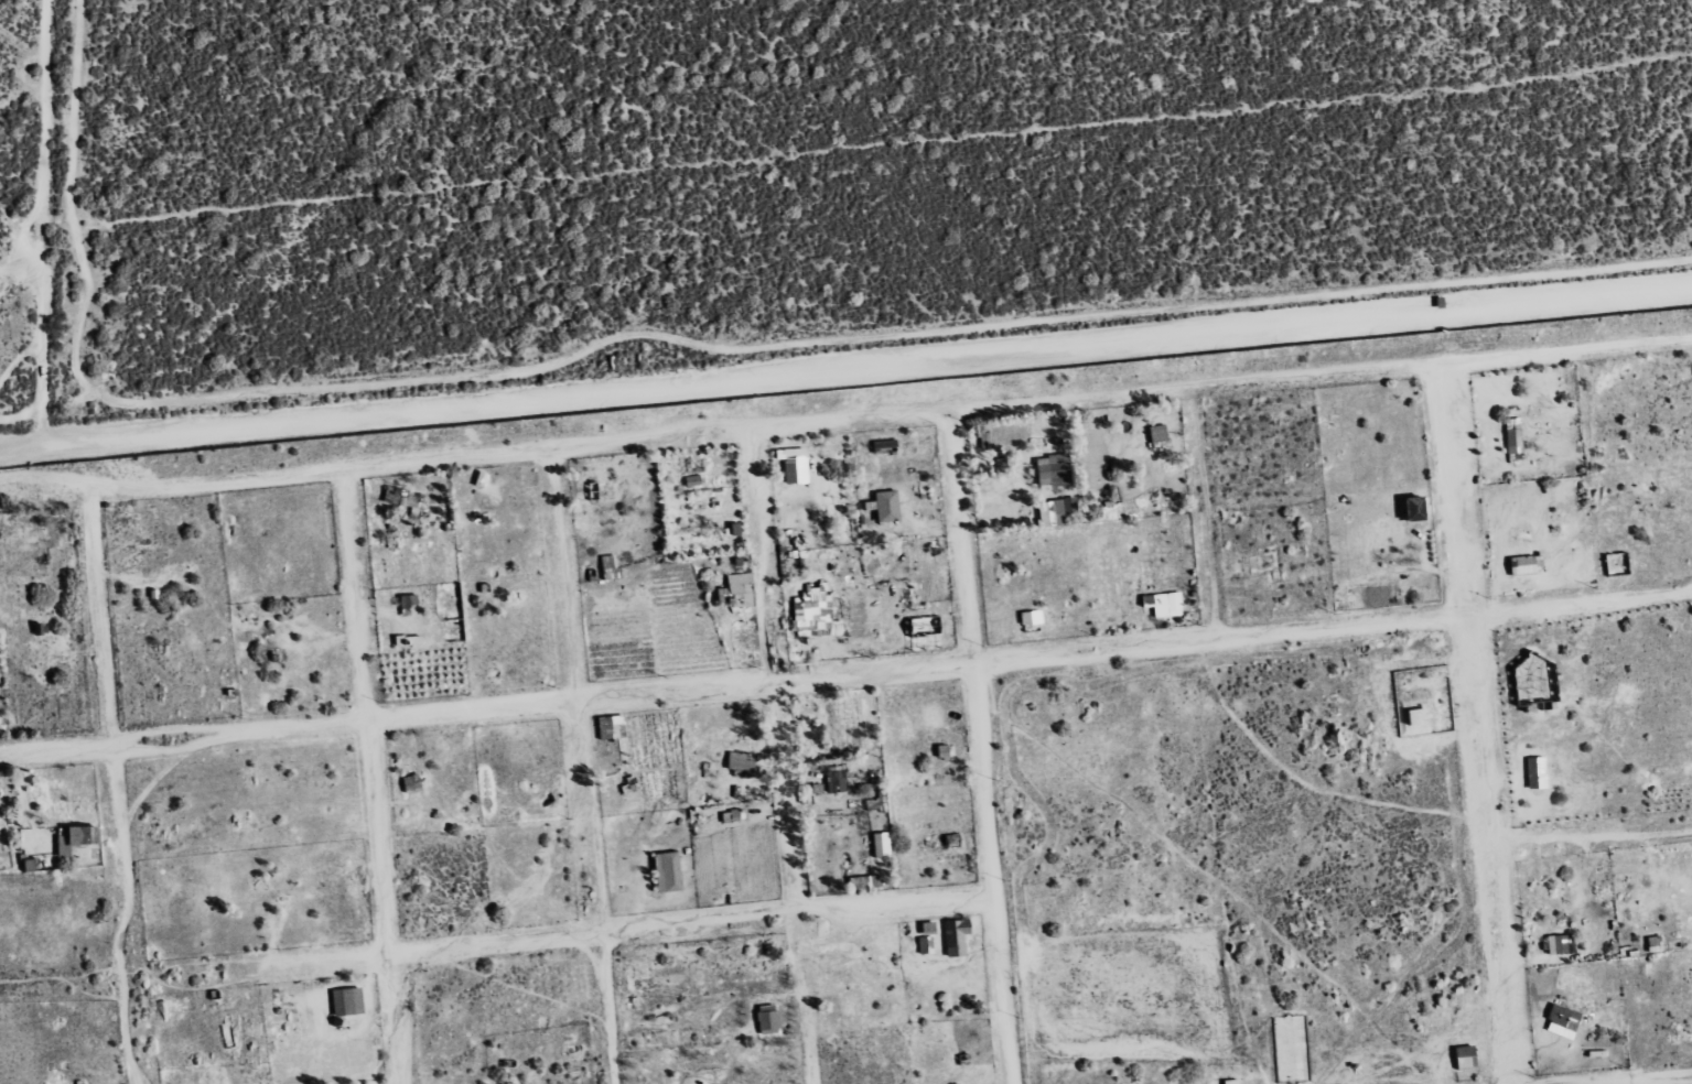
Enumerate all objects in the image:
road: (1565, 353)
road: (845, 365)
road: (1192, 384)
building: (1512, 436)
building: (1154, 438)
road: (472, 456)
building: (791, 466)
building: (1047, 470)
building: (883, 506)
building: (1409, 509)
building: (1053, 511)
road: (1199, 512)
building: (1519, 566)
building: (1232, 568)
building: (733, 592)
building: (1161, 605)
building: (812, 613)
road: (845, 675)
road: (1474, 724)
road: (980, 746)
road: (775, 757)
building: (733, 761)
road: (585, 766)
building: (1533, 773)
road: (374, 777)
building: (833, 781)
road: (116, 785)
road: (1588, 835)
building: (74, 837)
building: (879, 845)
building: (670, 871)
road: (625, 932)
building: (952, 937)
building: (1559, 944)
road: (128, 973)
building: (349, 1001)
building: (1556, 1016)
building: (770, 1019)
building: (1462, 1058)
road: (1637, 1078)
building: (1229, 1082)

